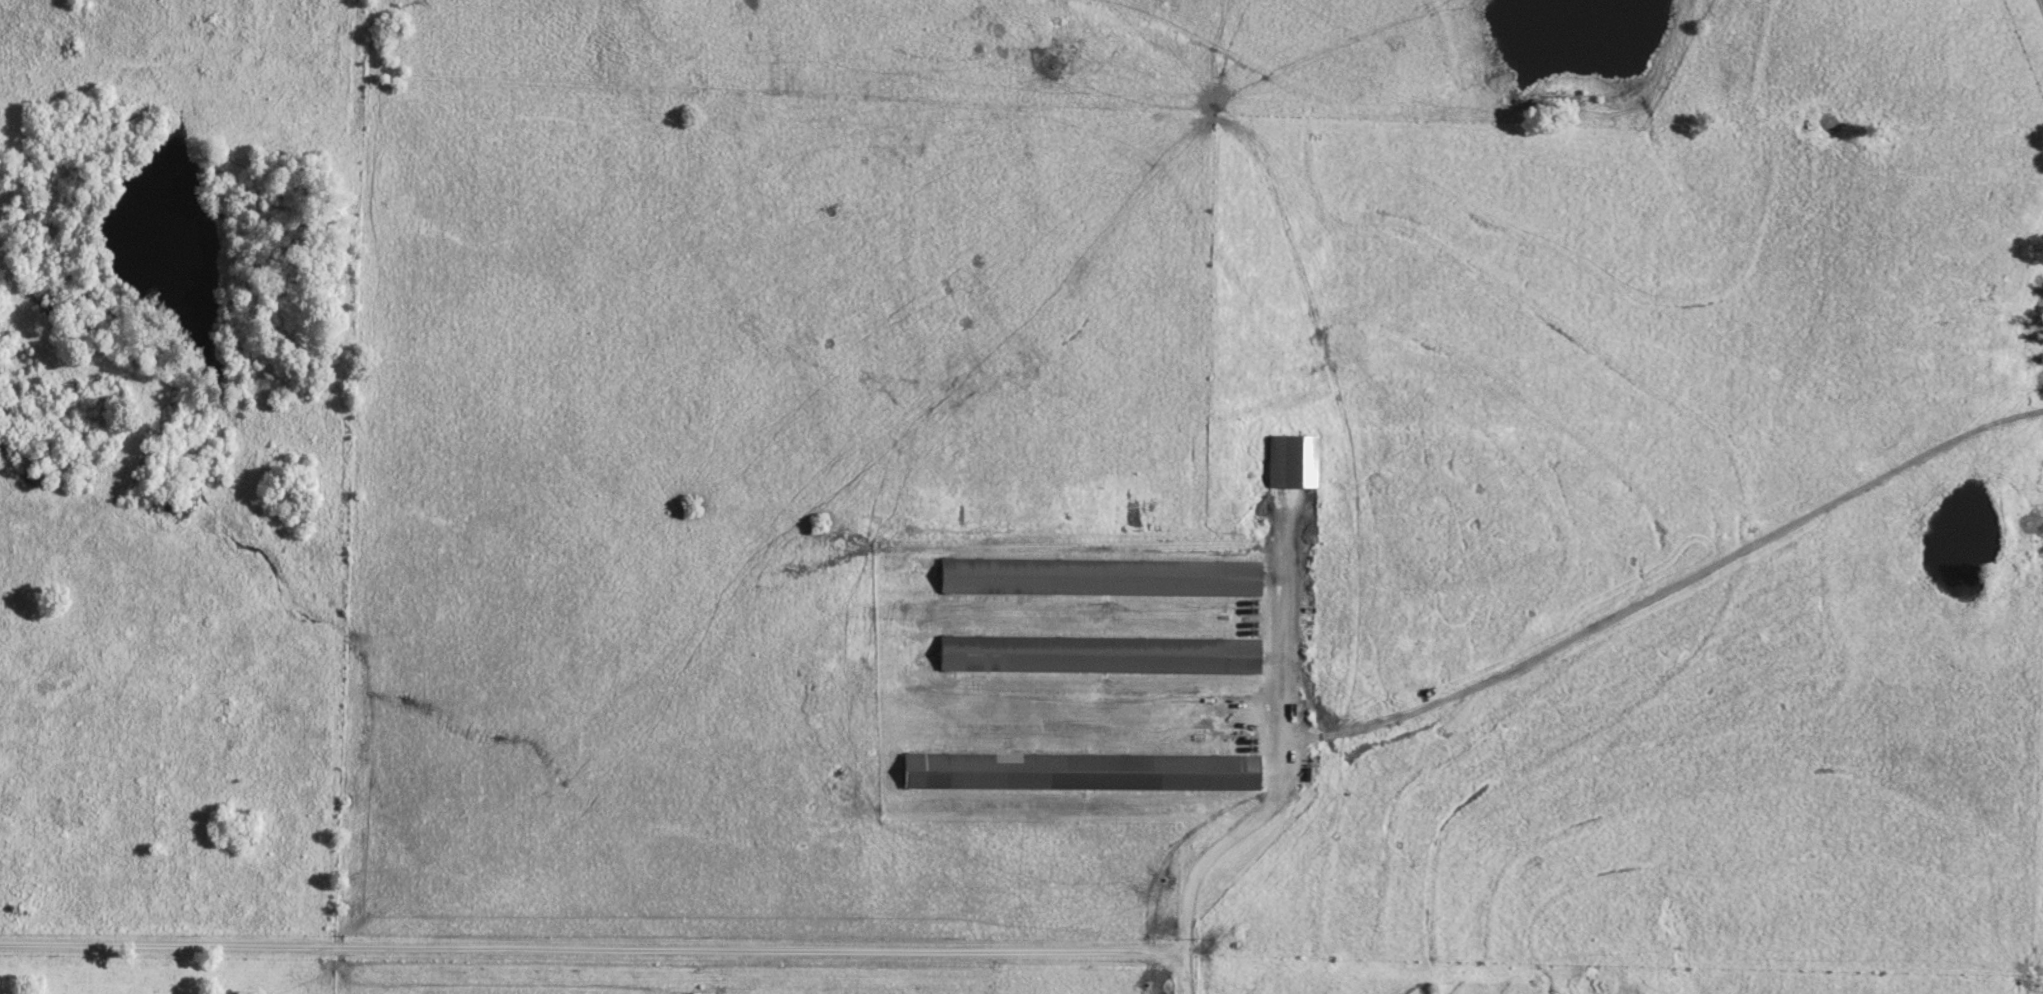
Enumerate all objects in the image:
building: (1293, 461)
building: (1101, 576)
building: (1100, 653)
road: (1273, 753)
building: (1082, 770)
road: (603, 954)

